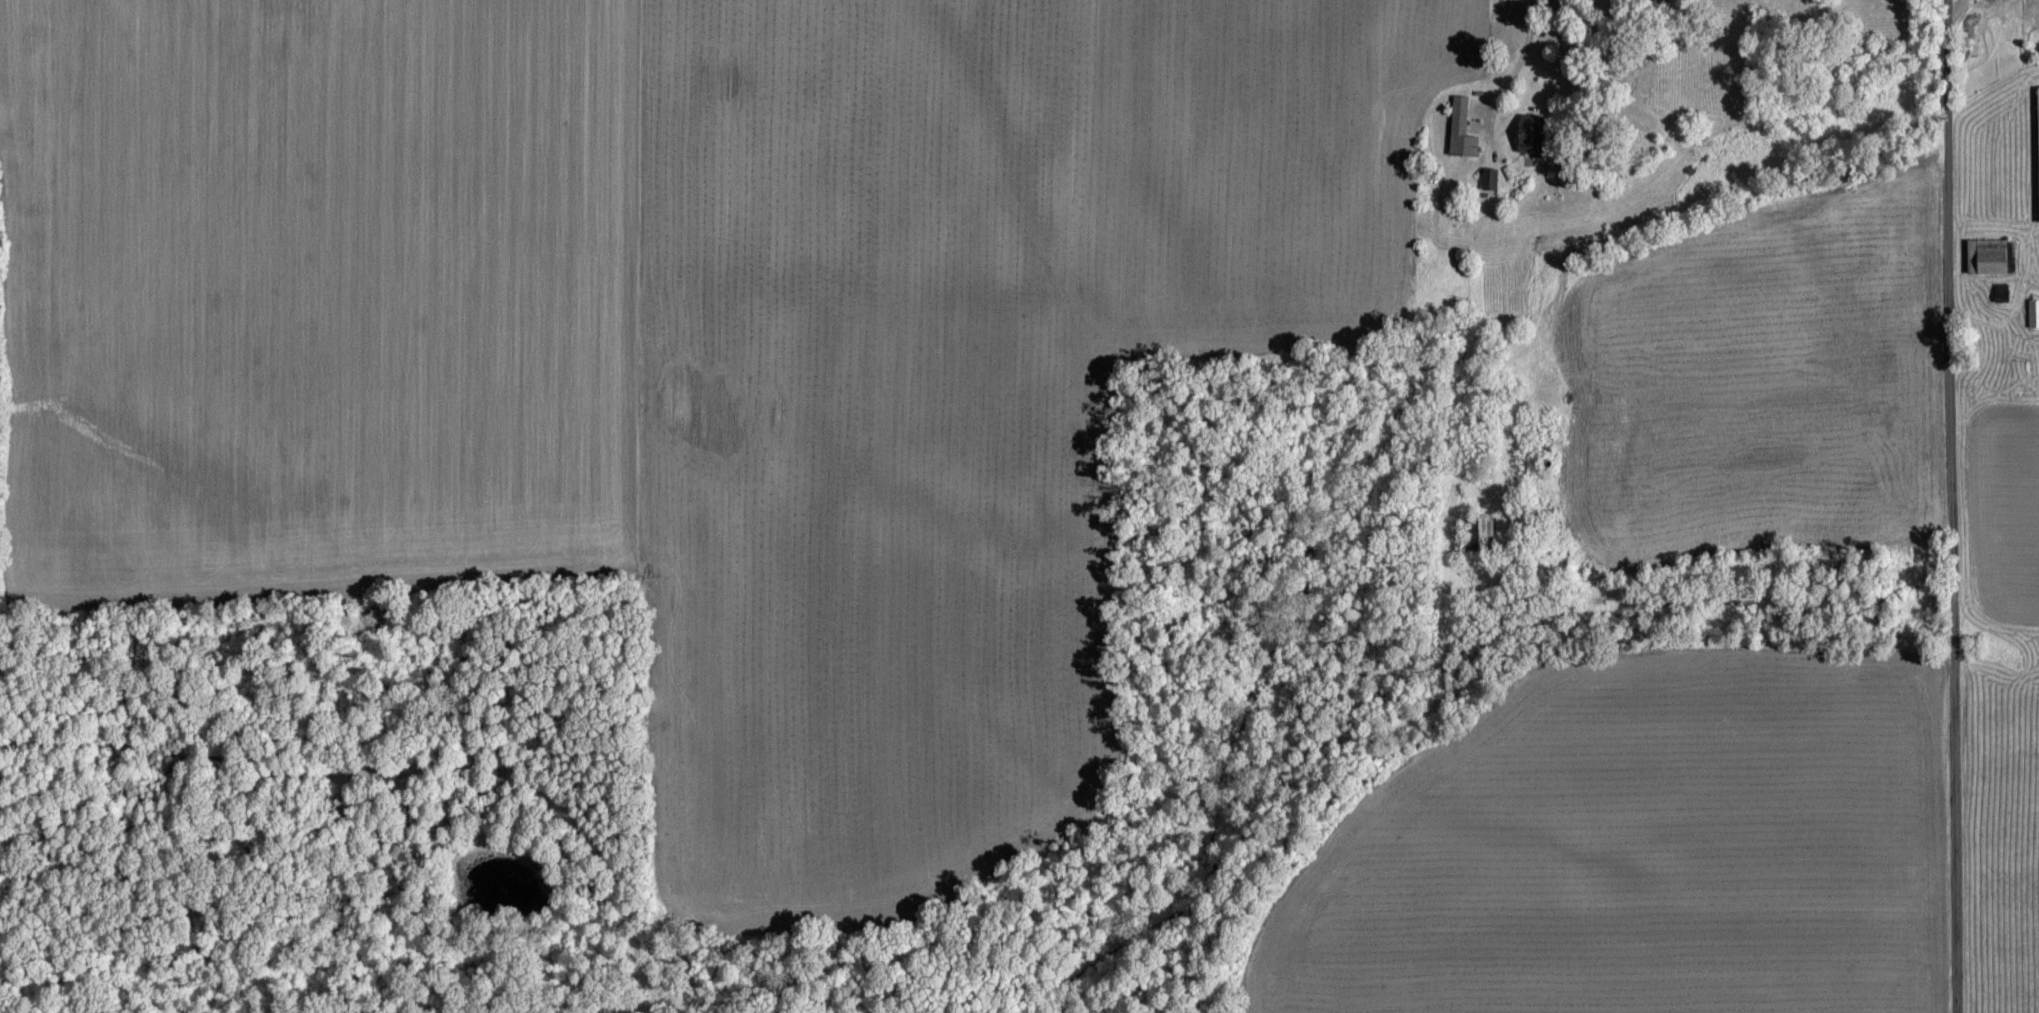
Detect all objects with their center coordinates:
road: (1529, 50)
building: (2038, 93)
building: (1462, 131)
building: (1533, 136)
building: (1489, 180)
building: (1987, 258)
building: (2033, 315)
road: (1955, 506)

